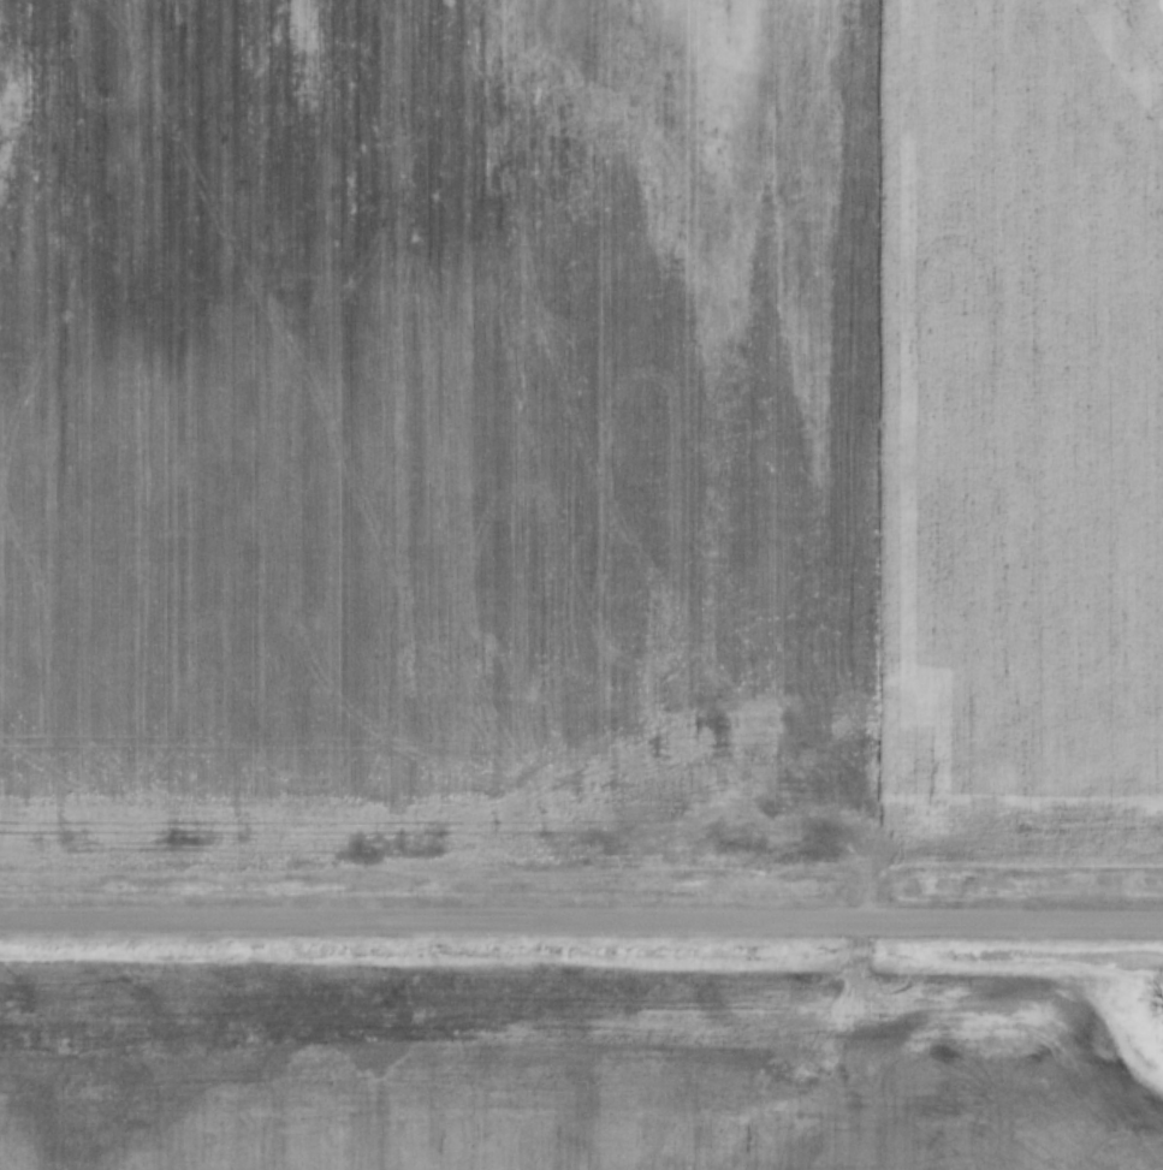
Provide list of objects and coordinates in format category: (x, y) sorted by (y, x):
road: (581, 923)

